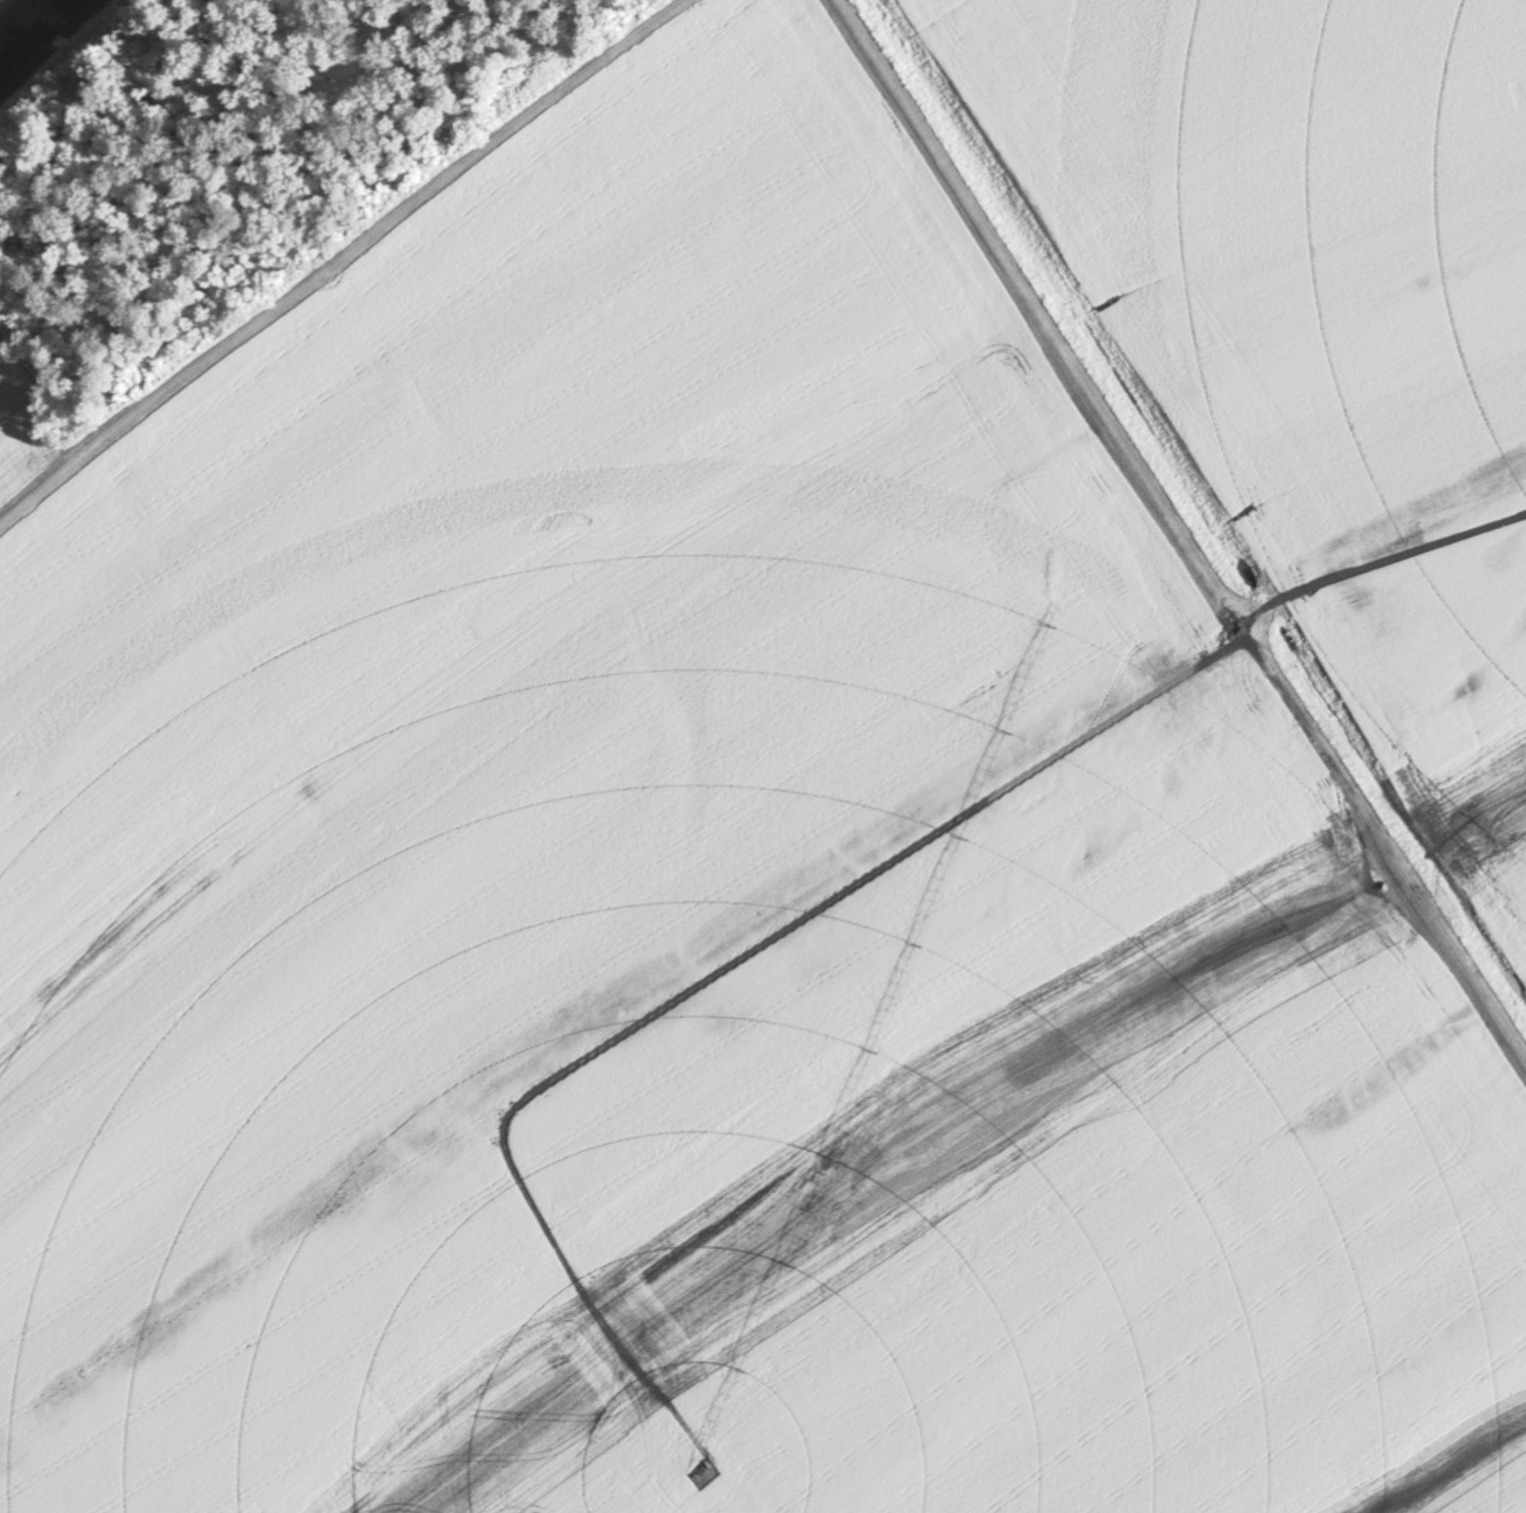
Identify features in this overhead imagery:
river: (32, 31)
road: (735, 941)

